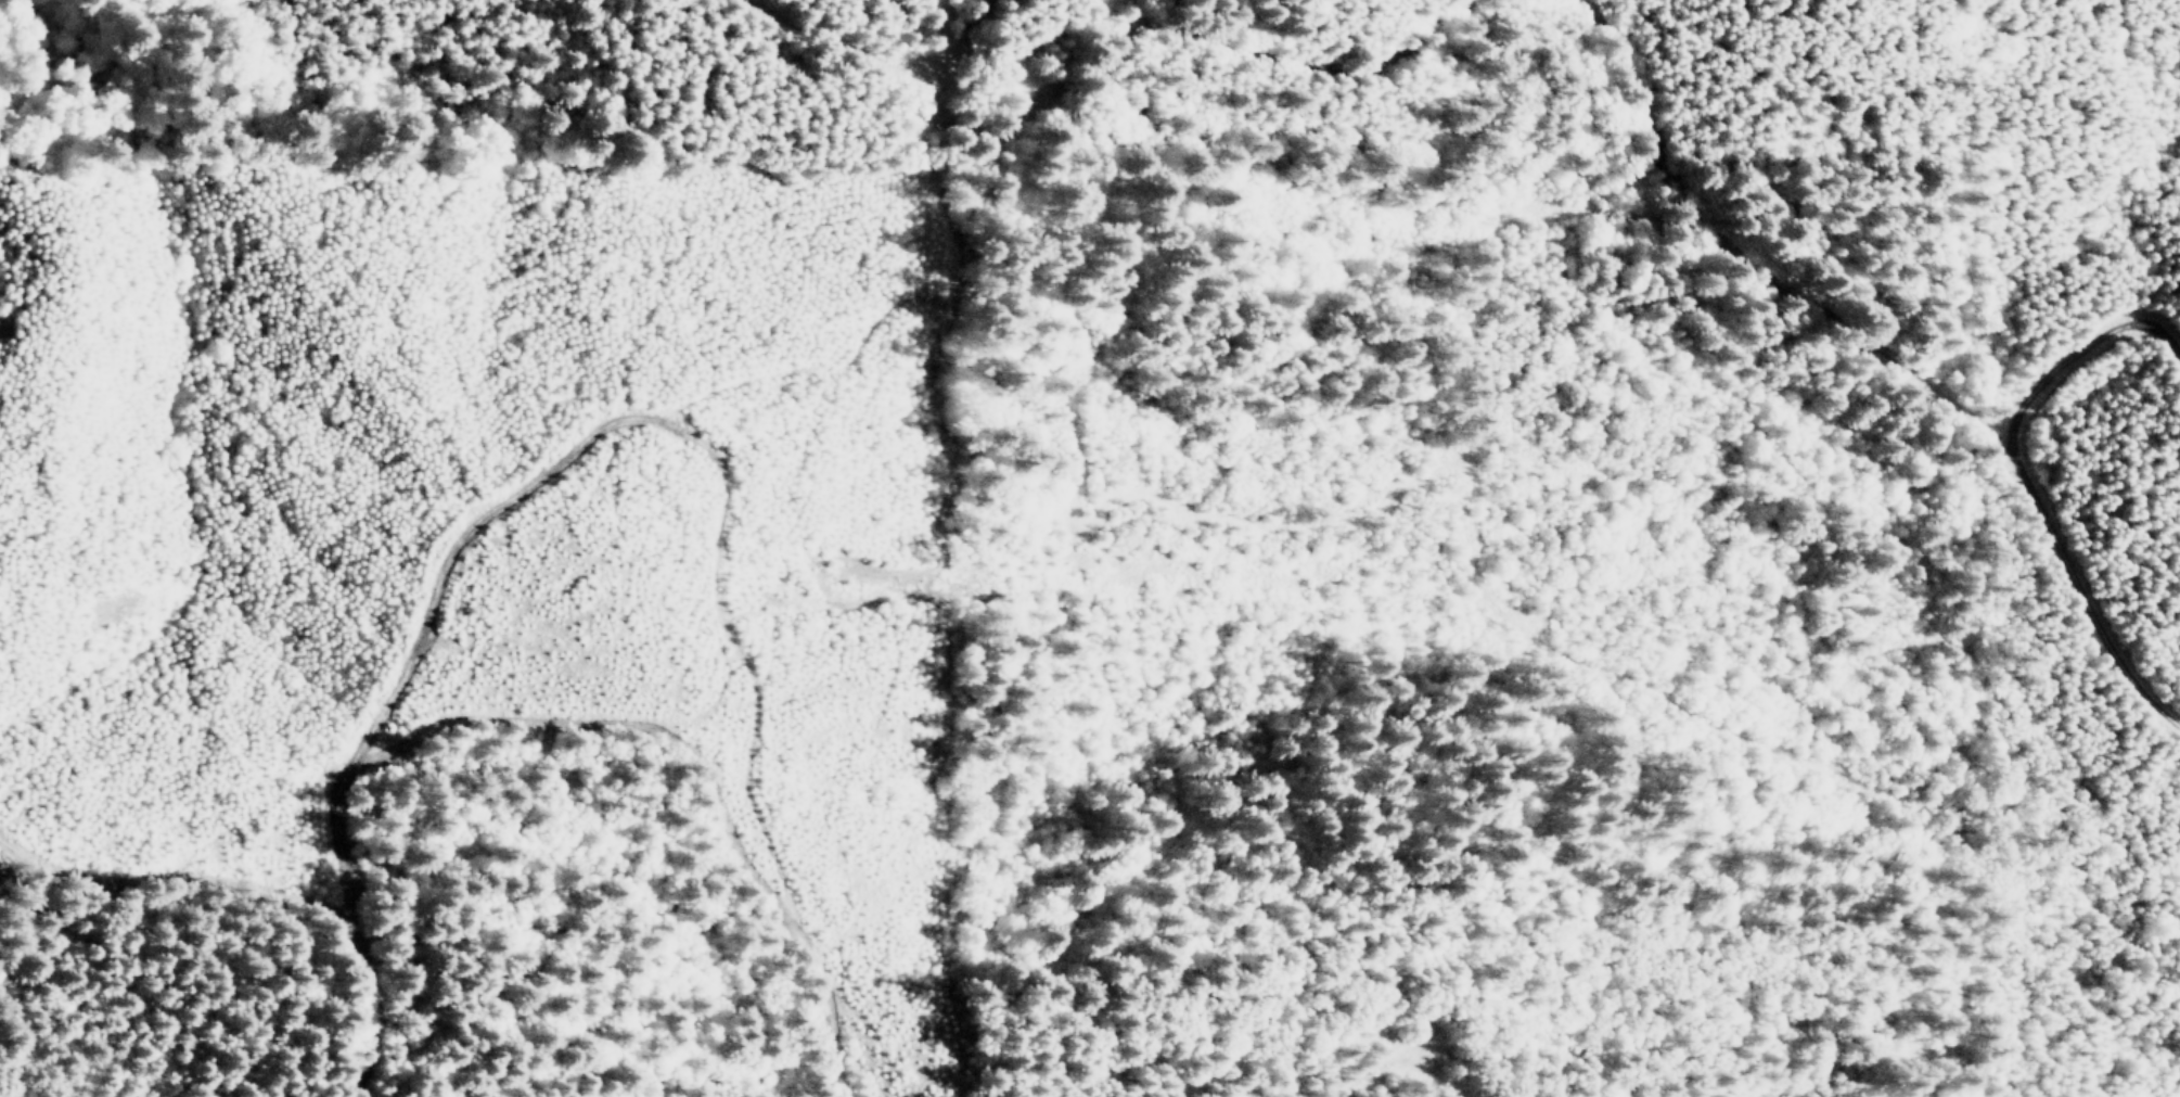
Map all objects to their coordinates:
road: (1143, 33)
road: (842, 42)
road: (1884, 357)
road: (663, 509)

